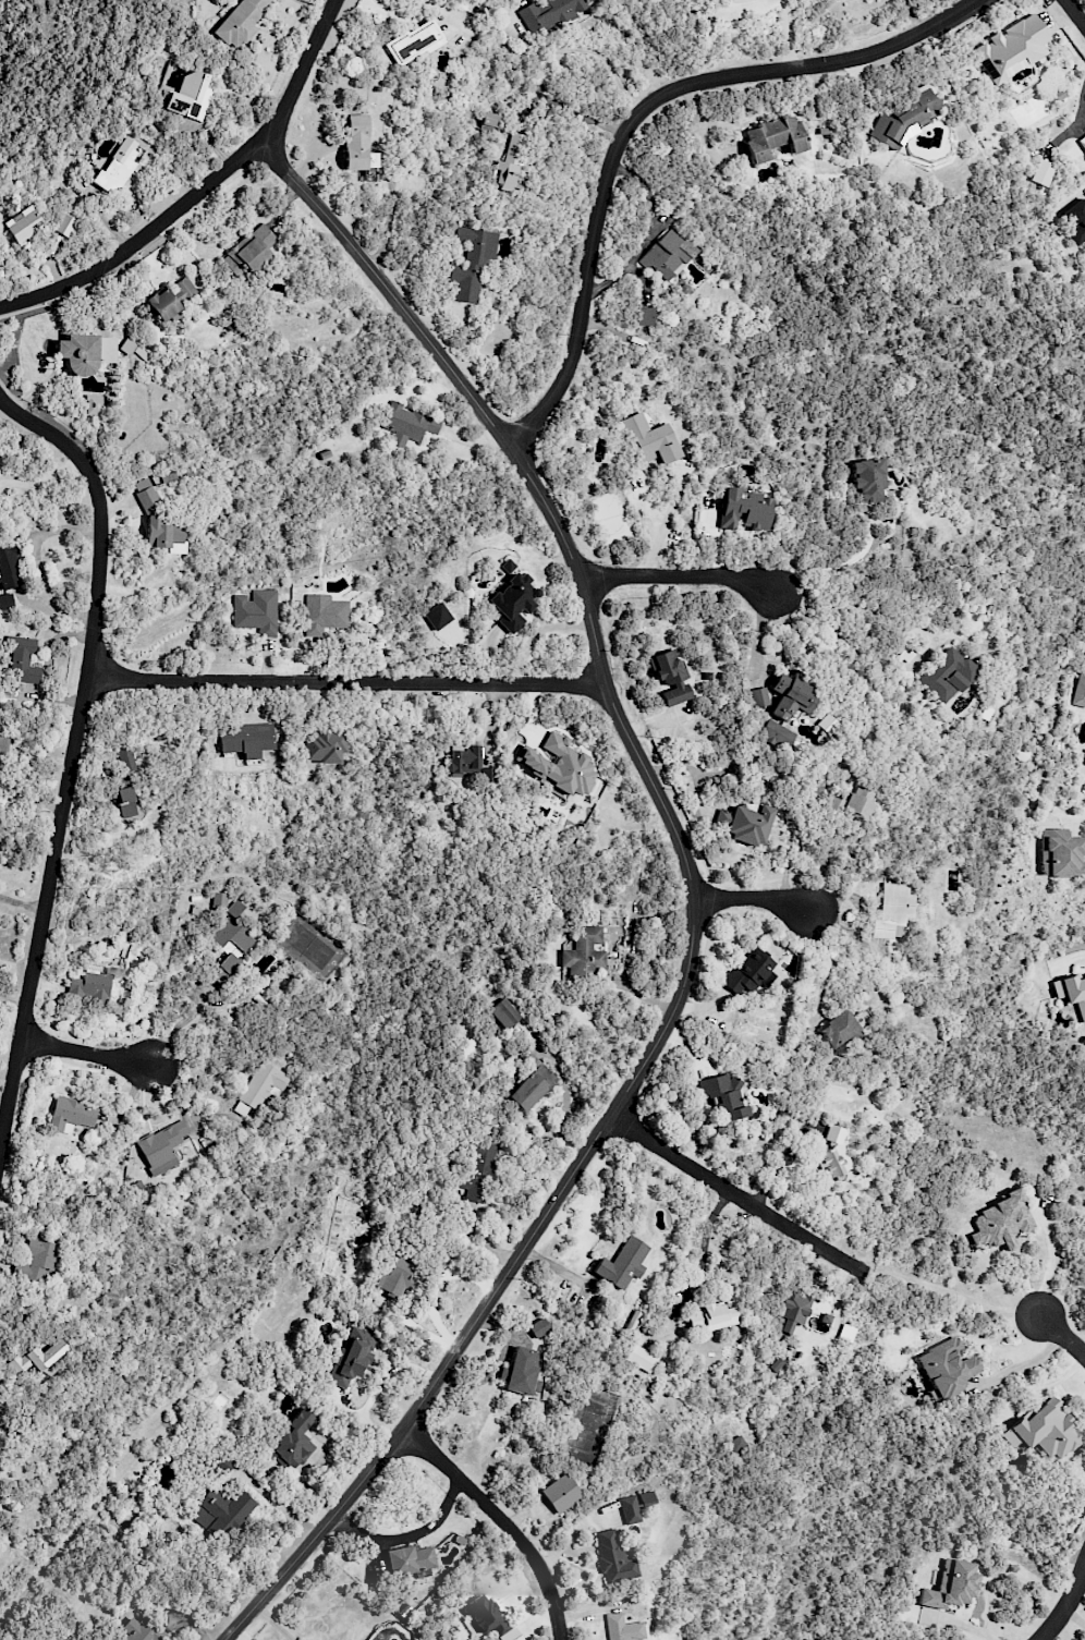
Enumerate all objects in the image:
road: (1076, 11)
building: (552, 12)
road: (912, 16)
building: (240, 22)
building: (415, 41)
building: (1012, 49)
road: (587, 50)
building: (190, 96)
road: (638, 117)
building: (490, 121)
building: (903, 122)
building: (772, 137)
building: (1083, 141)
building: (357, 146)
building: (508, 166)
building: (117, 168)
building: (1041, 172)
road: (200, 186)
building: (21, 224)
building: (64, 224)
building: (248, 253)
building: (668, 255)
building: (472, 262)
building: (170, 299)
building: (645, 316)
building: (134, 348)
building: (85, 352)
building: (97, 403)
building: (648, 417)
building: (407, 424)
building: (649, 440)
building: (868, 479)
building: (146, 494)
building: (744, 510)
road: (659, 527)
building: (163, 535)
road: (35, 561)
building: (10, 568)
road: (839, 568)
road: (678, 578)
building: (513, 599)
building: (7, 602)
building: (256, 611)
building: (324, 614)
building: (438, 616)
road: (928, 633)
building: (24, 661)
building: (947, 675)
building: (671, 678)
road: (349, 683)
building: (1080, 691)
building: (759, 696)
building: (790, 696)
building: (777, 733)
building: (246, 739)
building: (326, 745)
building: (1, 748)
road: (75, 757)
building: (468, 764)
building: (559, 765)
building: (124, 802)
building: (852, 804)
road: (1080, 821)
building: (744, 824)
building: (1060, 853)
road: (695, 899)
road: (753, 901)
building: (892, 911)
building: (232, 937)
building: (583, 956)
road: (1070, 957)
building: (749, 971)
building: (89, 987)
building: (1071, 991)
building: (504, 1013)
road: (175, 1025)
building: (838, 1031)
road: (92, 1048)
building: (532, 1085)
building: (260, 1088)
building: (724, 1096)
road: (176, 1097)
building: (71, 1115)
building: (163, 1147)
building: (834, 1156)
building: (478, 1170)
road: (737, 1200)
building: (1001, 1222)
building: (623, 1263)
road: (1052, 1263)
building: (393, 1277)
building: (792, 1310)
building: (711, 1316)
building: (538, 1327)
building: (846, 1333)
road: (1063, 1336)
building: (351, 1357)
building: (641, 1358)
building: (40, 1360)
road: (1019, 1364)
building: (947, 1368)
building: (522, 1372)
building: (1, 1394)
building: (1044, 1431)
building: (294, 1442)
building: (736, 1444)
building: (222, 1462)
building: (0, 1485)
building: (561, 1493)
building: (646, 1497)
building: (630, 1509)
building: (221, 1511)
road: (499, 1522)
building: (613, 1558)
building: (410, 1559)
building: (951, 1586)
road: (1066, 1603)
building: (485, 1615)
road: (272, 1623)
building: (623, 1628)
building: (142, 1629)

